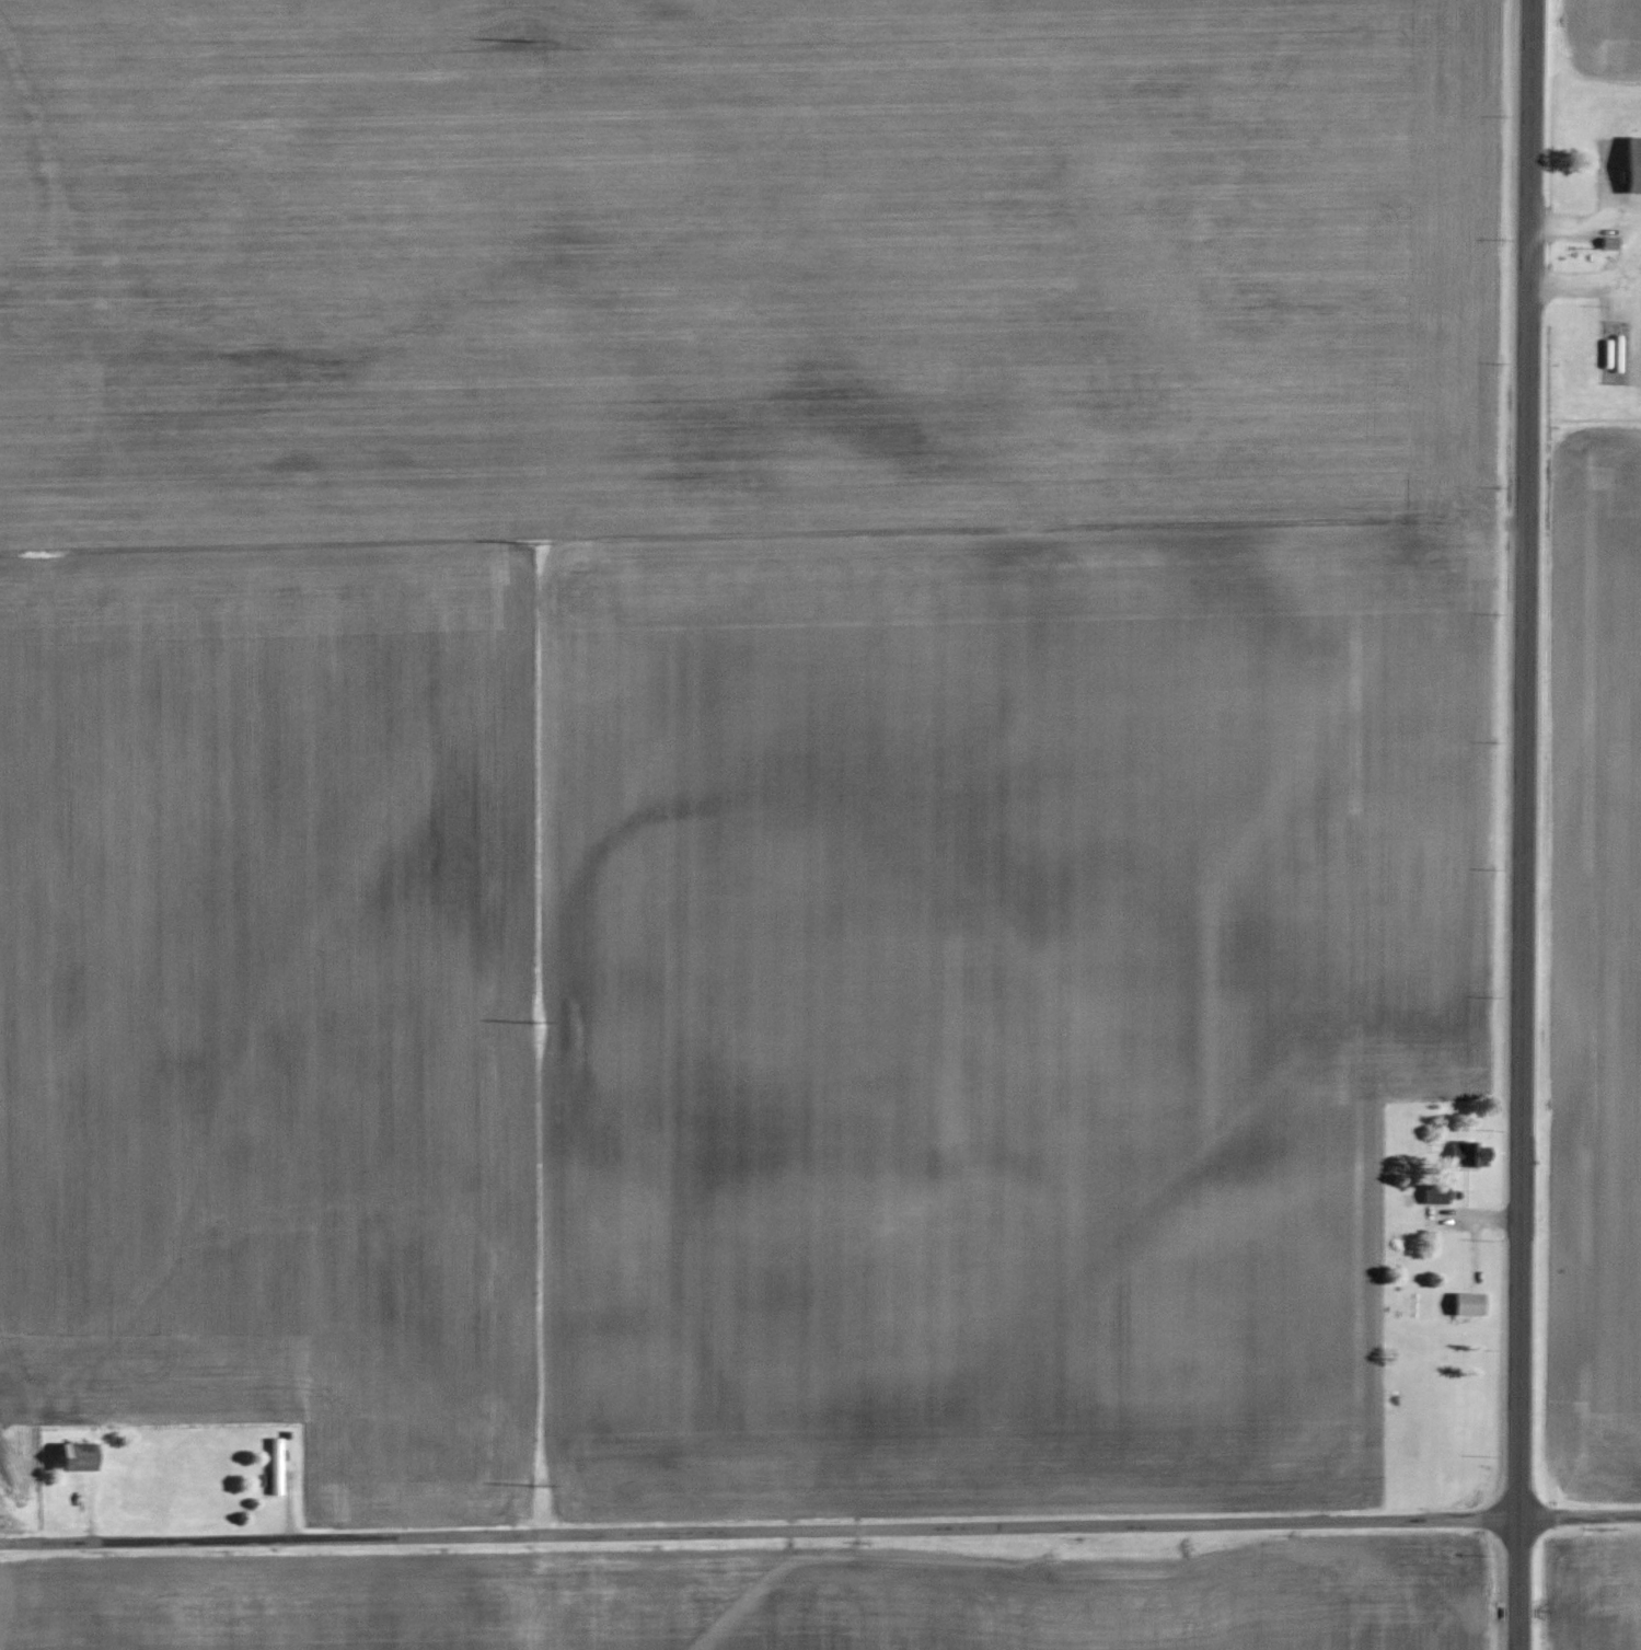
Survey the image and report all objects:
building: (1633, 163)
building: (1613, 351)
road: (1523, 824)
building: (1472, 1154)
building: (1437, 1192)
building: (1469, 1303)
building: (81, 1456)
building: (276, 1465)
road: (820, 1524)

